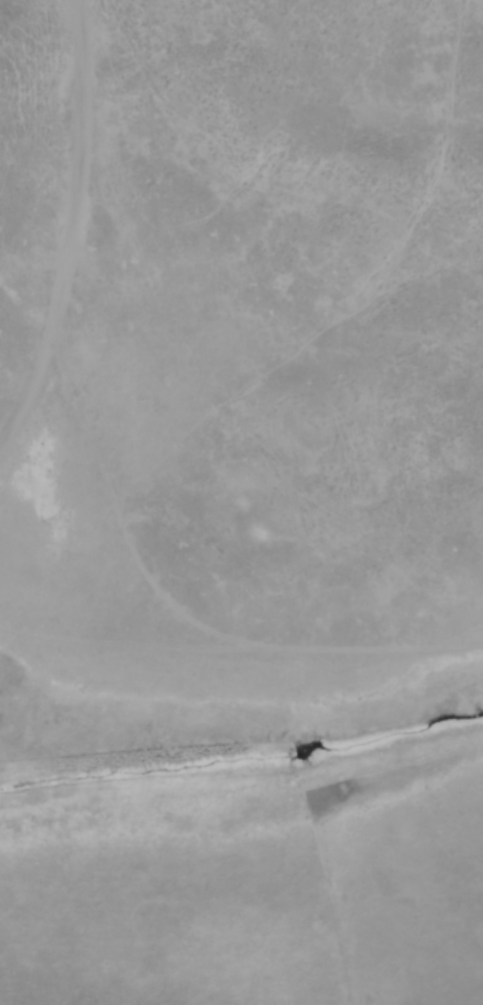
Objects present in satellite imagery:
road: (69, 229)

